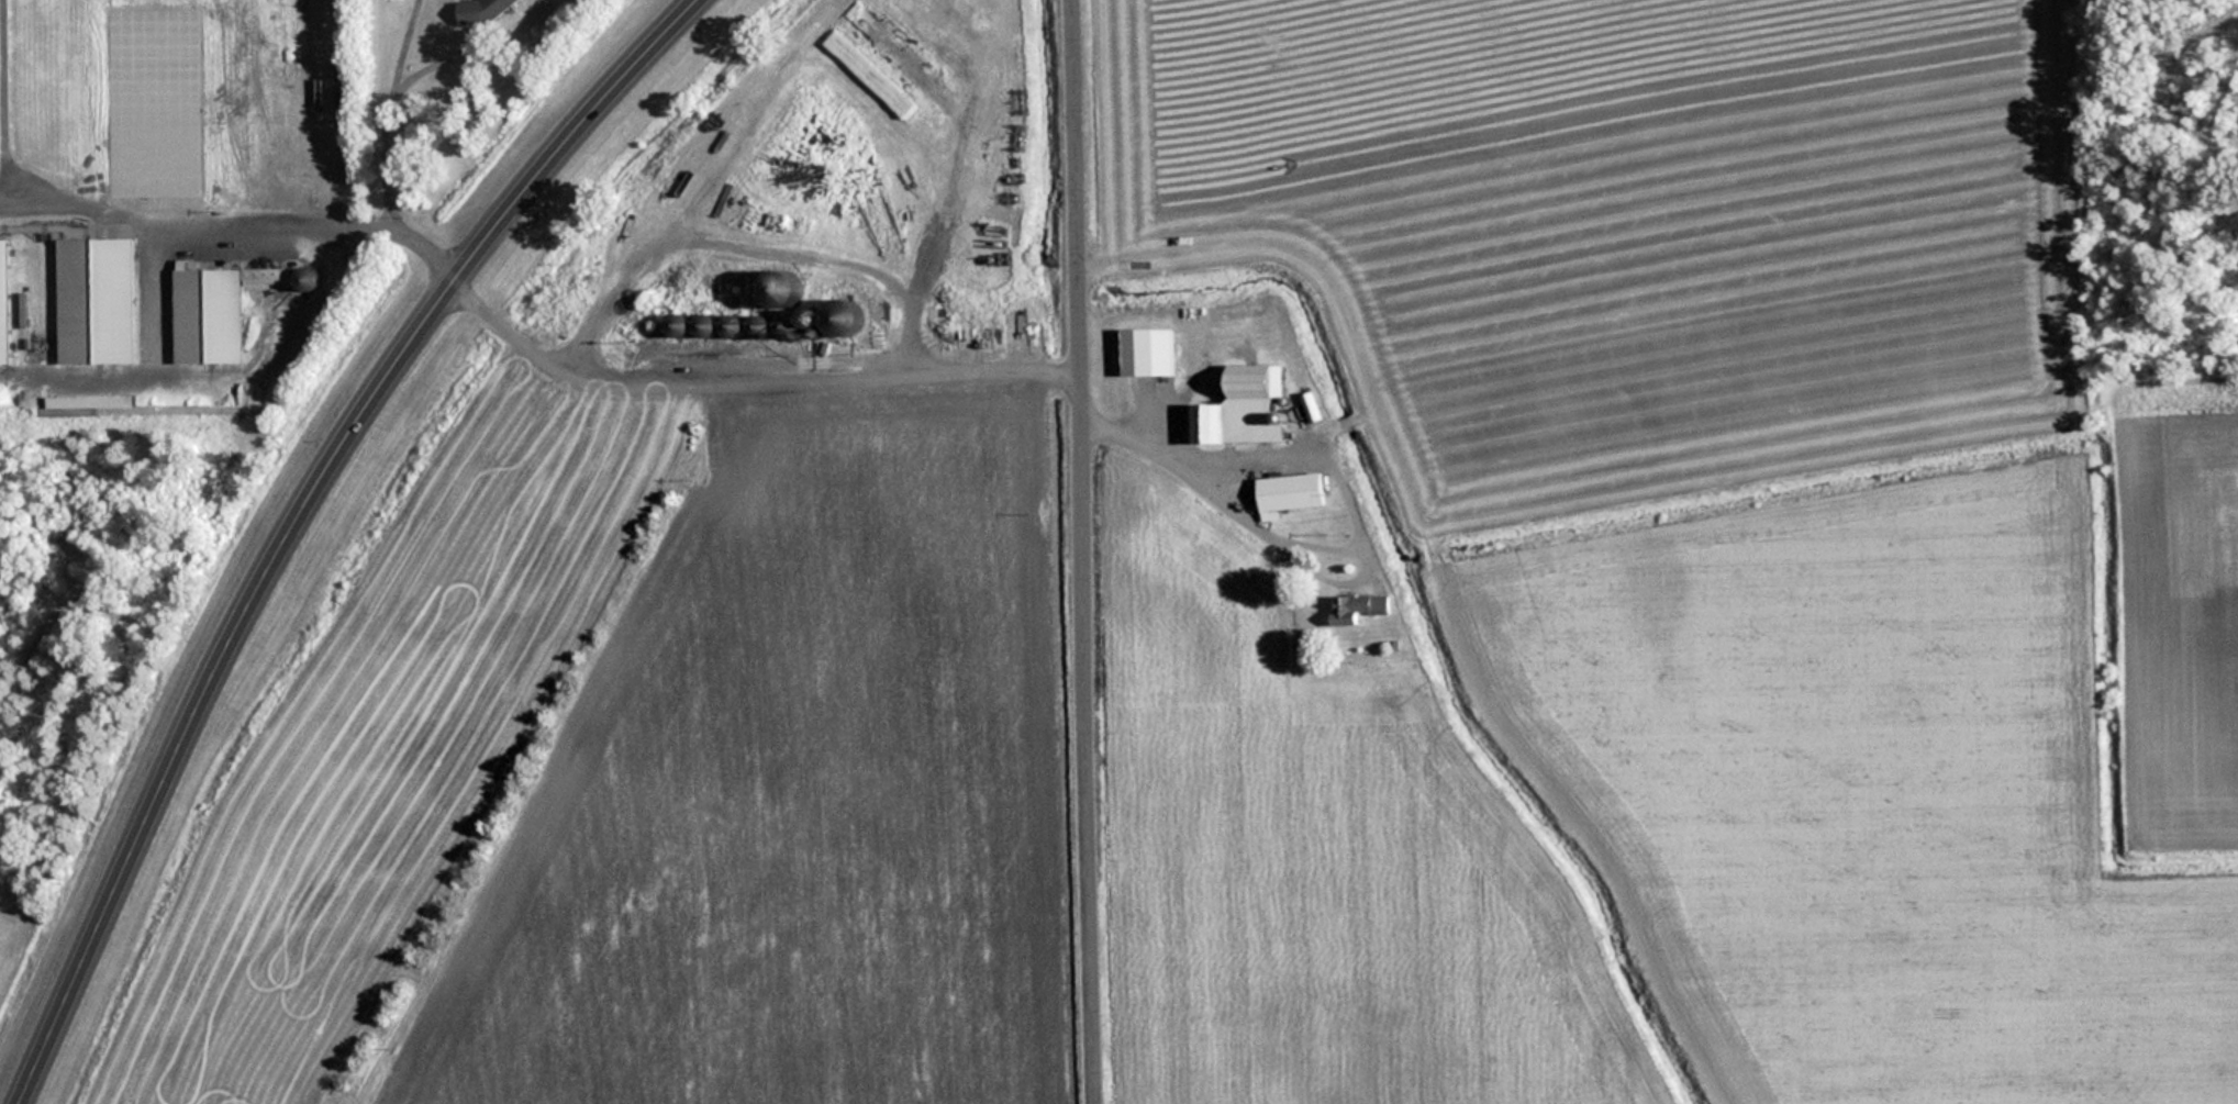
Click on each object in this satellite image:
building: (879, 197)
building: (906, 257)
building: (309, 279)
building: (98, 301)
building: (216, 311)
building: (846, 319)
building: (680, 326)
building: (708, 326)
building: (761, 327)
building: (734, 328)
building: (1150, 352)
building: (79, 402)
building: (1314, 406)
building: (1245, 408)
building: (1292, 492)
road: (296, 512)
road: (1083, 551)
building: (1359, 607)

